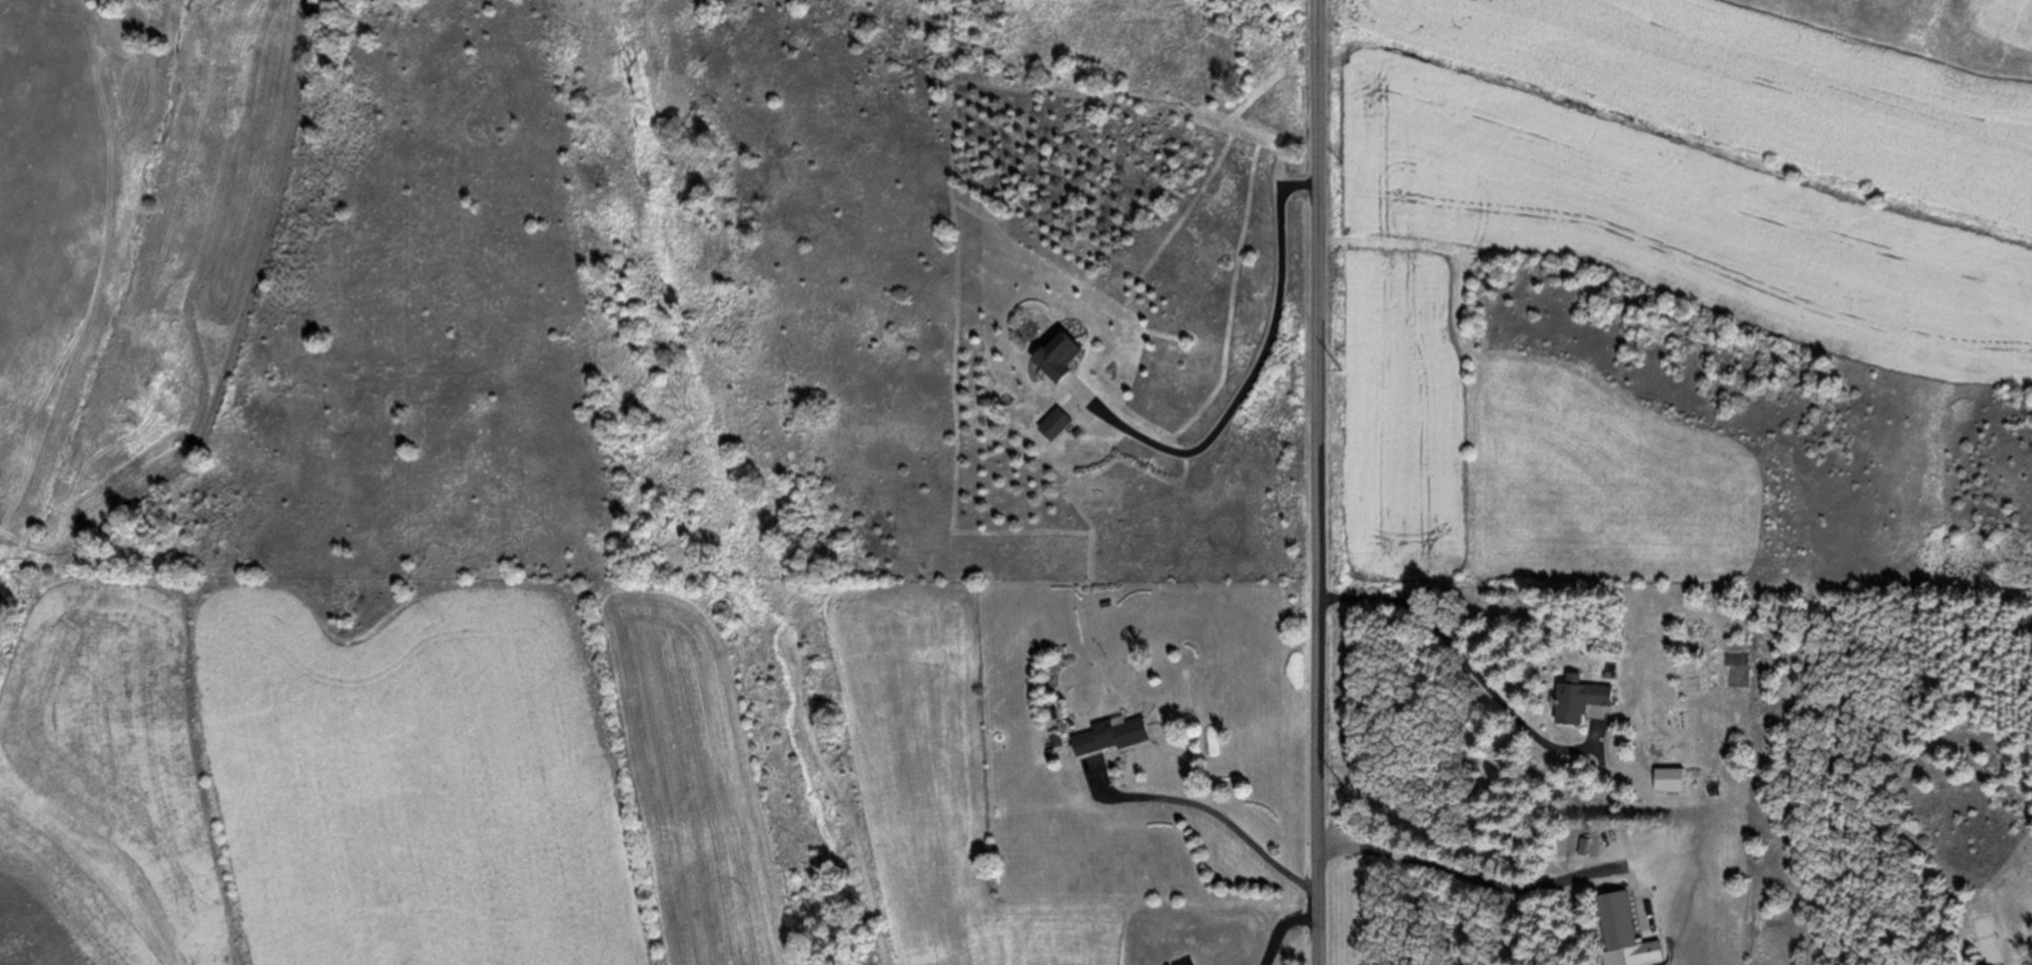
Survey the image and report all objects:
building: (1055, 356)
road: (1248, 383)
building: (1054, 422)
road: (1320, 482)
road: (1476, 668)
building: (1576, 699)
building: (1111, 734)
building: (1671, 778)
road: (1205, 806)
road: (1477, 878)
building: (1616, 921)
building: (2031, 945)
building: (2030, 951)

